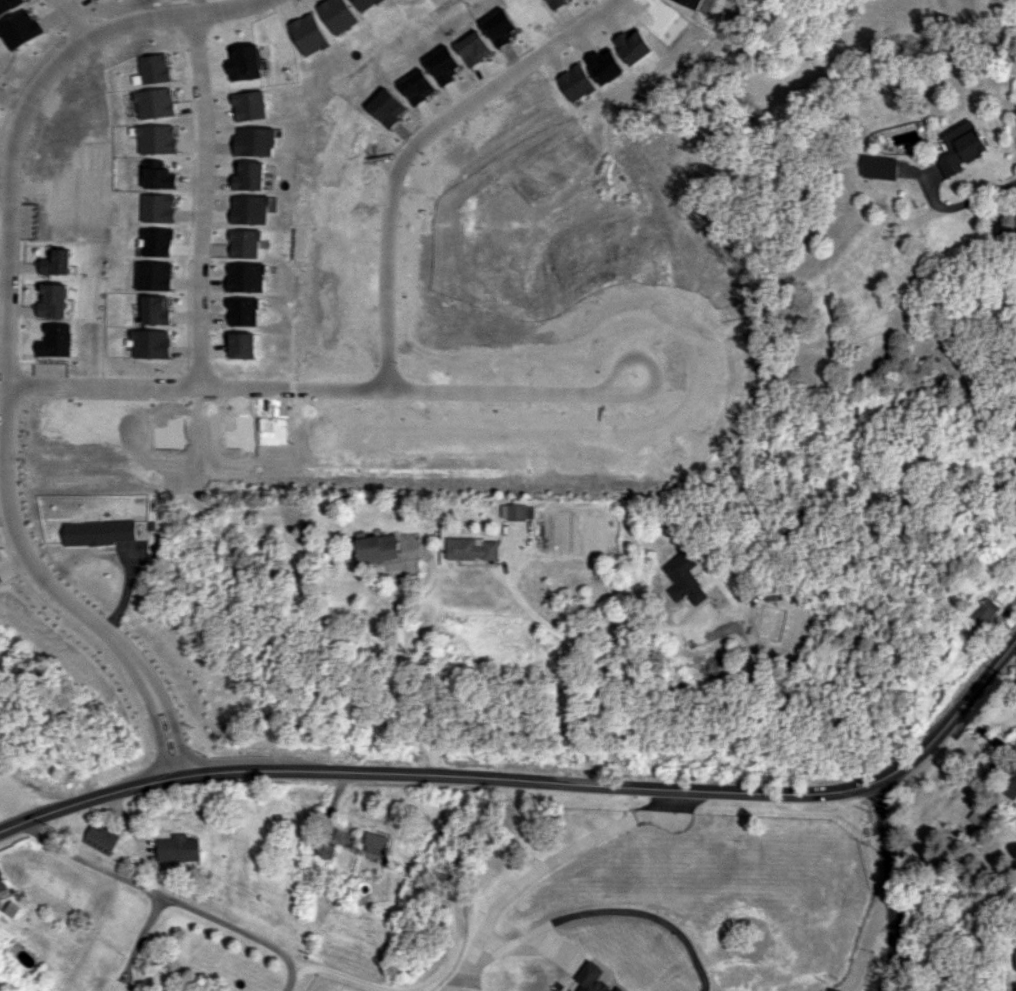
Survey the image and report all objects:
road: (71, 20)
building: (241, 62)
building: (152, 102)
building: (246, 105)
building: (153, 139)
building: (253, 141)
road: (415, 144)
building: (959, 148)
building: (879, 167)
building: (248, 176)
building: (157, 177)
road: (200, 198)
road: (960, 204)
building: (156, 207)
building: (156, 241)
building: (55, 262)
building: (154, 276)
building: (249, 277)
road: (4, 300)
building: (53, 300)
building: (157, 310)
building: (152, 344)
building: (243, 344)
road: (331, 386)
building: (518, 509)
building: (97, 532)
building: (377, 548)
building: (472, 548)
building: (684, 580)
building: (986, 612)
road: (646, 628)
road: (579, 646)
road: (407, 675)
road: (178, 735)
road: (161, 739)
road: (535, 780)
building: (1008, 782)
road: (8, 809)
building: (101, 838)
building: (376, 843)
building: (178, 848)
building: (324, 850)
road: (543, 868)
building: (1, 883)
road: (890, 887)
road: (607, 910)
road: (141, 934)
road: (859, 958)
building: (1014, 959)
road: (325, 968)
road: (290, 973)

